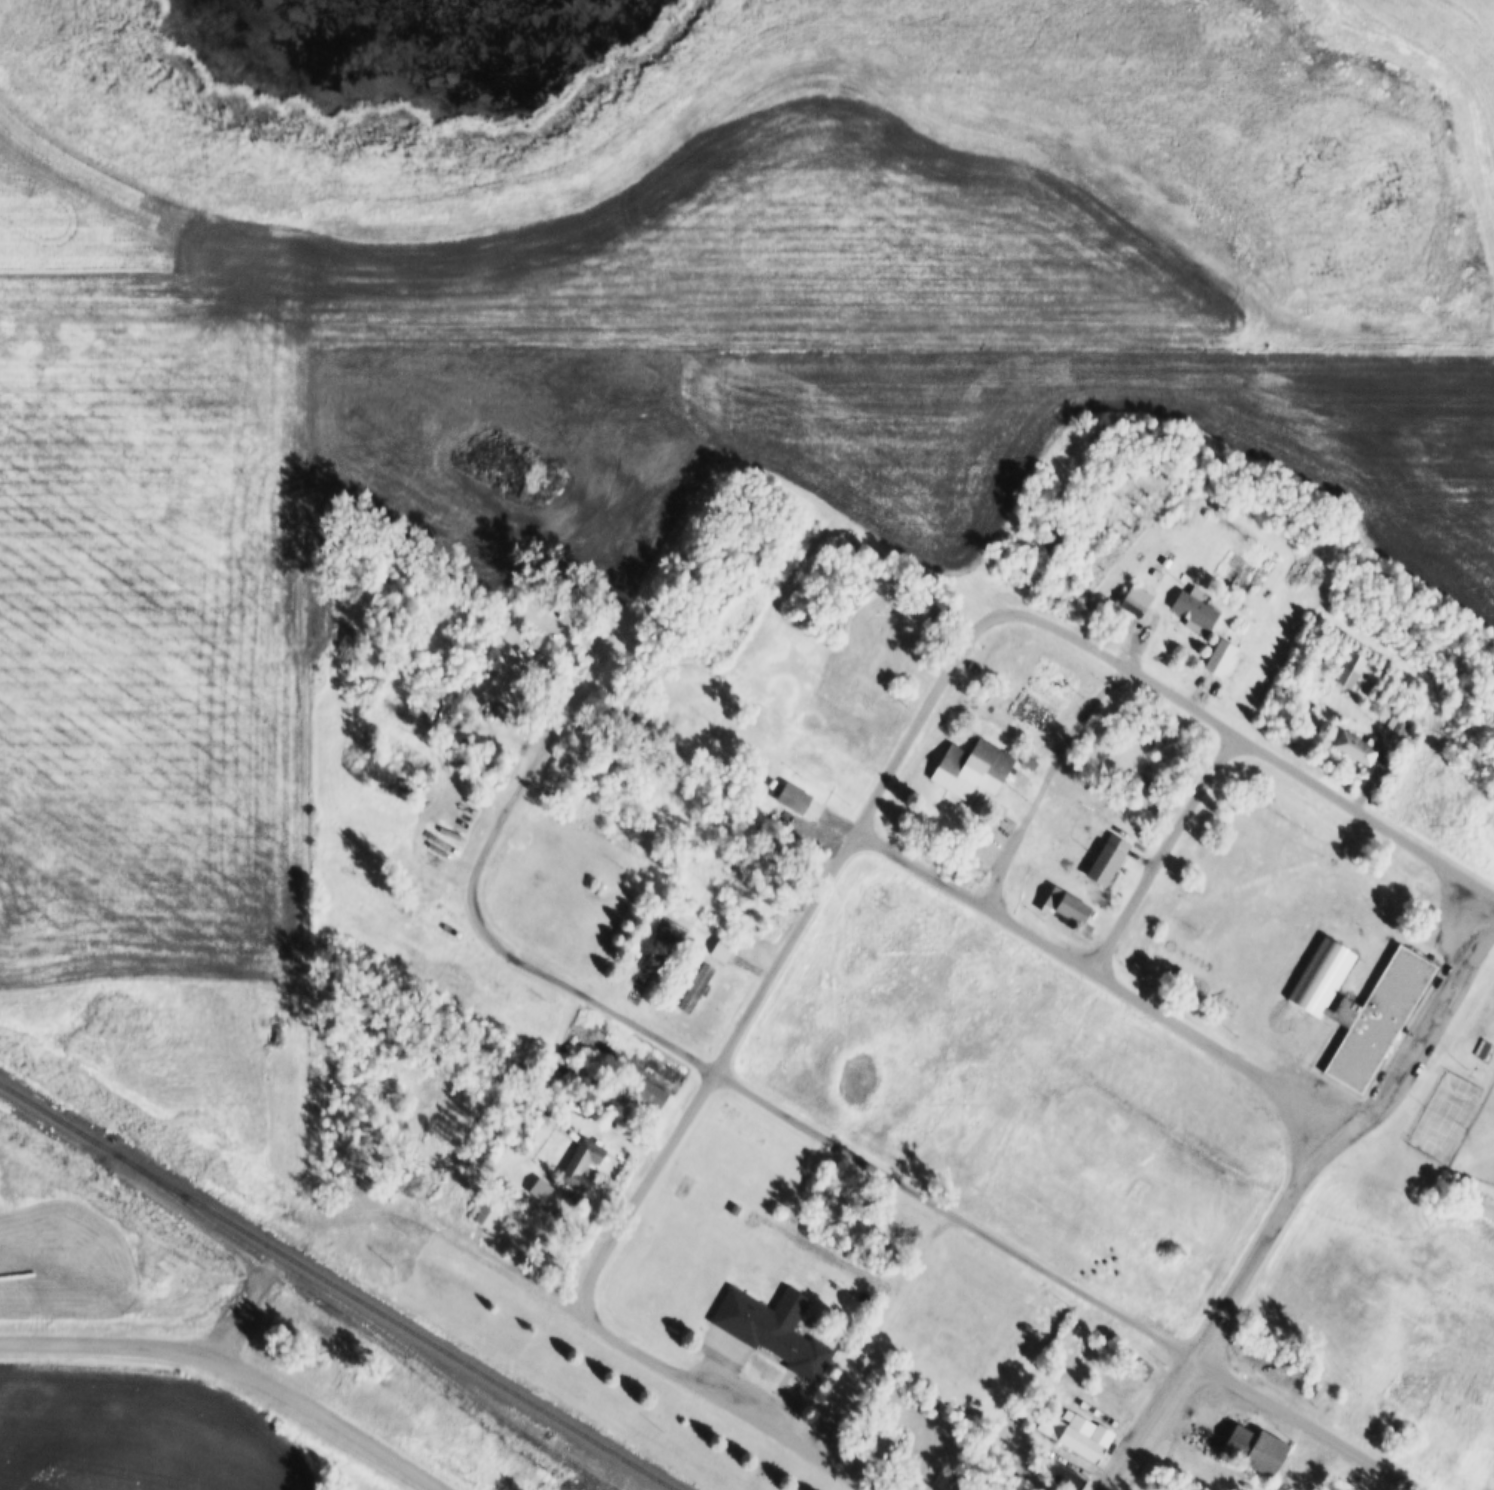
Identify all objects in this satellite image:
road: (882, 535)
building: (1155, 571)
building: (1133, 598)
building: (1191, 604)
building: (1218, 655)
building: (1348, 666)
road: (577, 670)
building: (1396, 721)
building: (1353, 745)
road: (1265, 749)
building: (1028, 759)
building: (989, 763)
building: (814, 765)
building: (1136, 780)
building: (753, 793)
building: (790, 796)
road: (1031, 806)
road: (1160, 849)
building: (1105, 856)
building: (596, 886)
building: (1067, 906)
road: (784, 945)
building: (720, 947)
road: (1101, 976)
building: (1316, 979)
building: (693, 984)
building: (1373, 1015)
building: (1484, 1048)
building: (649, 1090)
park: (1445, 1112)
building: (580, 1160)
road: (1293, 1186)
building: (734, 1205)
road: (939, 1206)
building: (486, 1211)
road: (480, 1254)
railway: (338, 1285)
road: (241, 1312)
railway: (367, 1317)
building: (771, 1326)
road: (869, 1327)
road: (104, 1339)
building: (1130, 1363)
road: (733, 1409)
road: (328, 1418)
building: (1074, 1431)
building: (881, 1446)
building: (1251, 1447)
building: (1056, 1473)
building: (942, 1479)
building: (1333, 1489)

